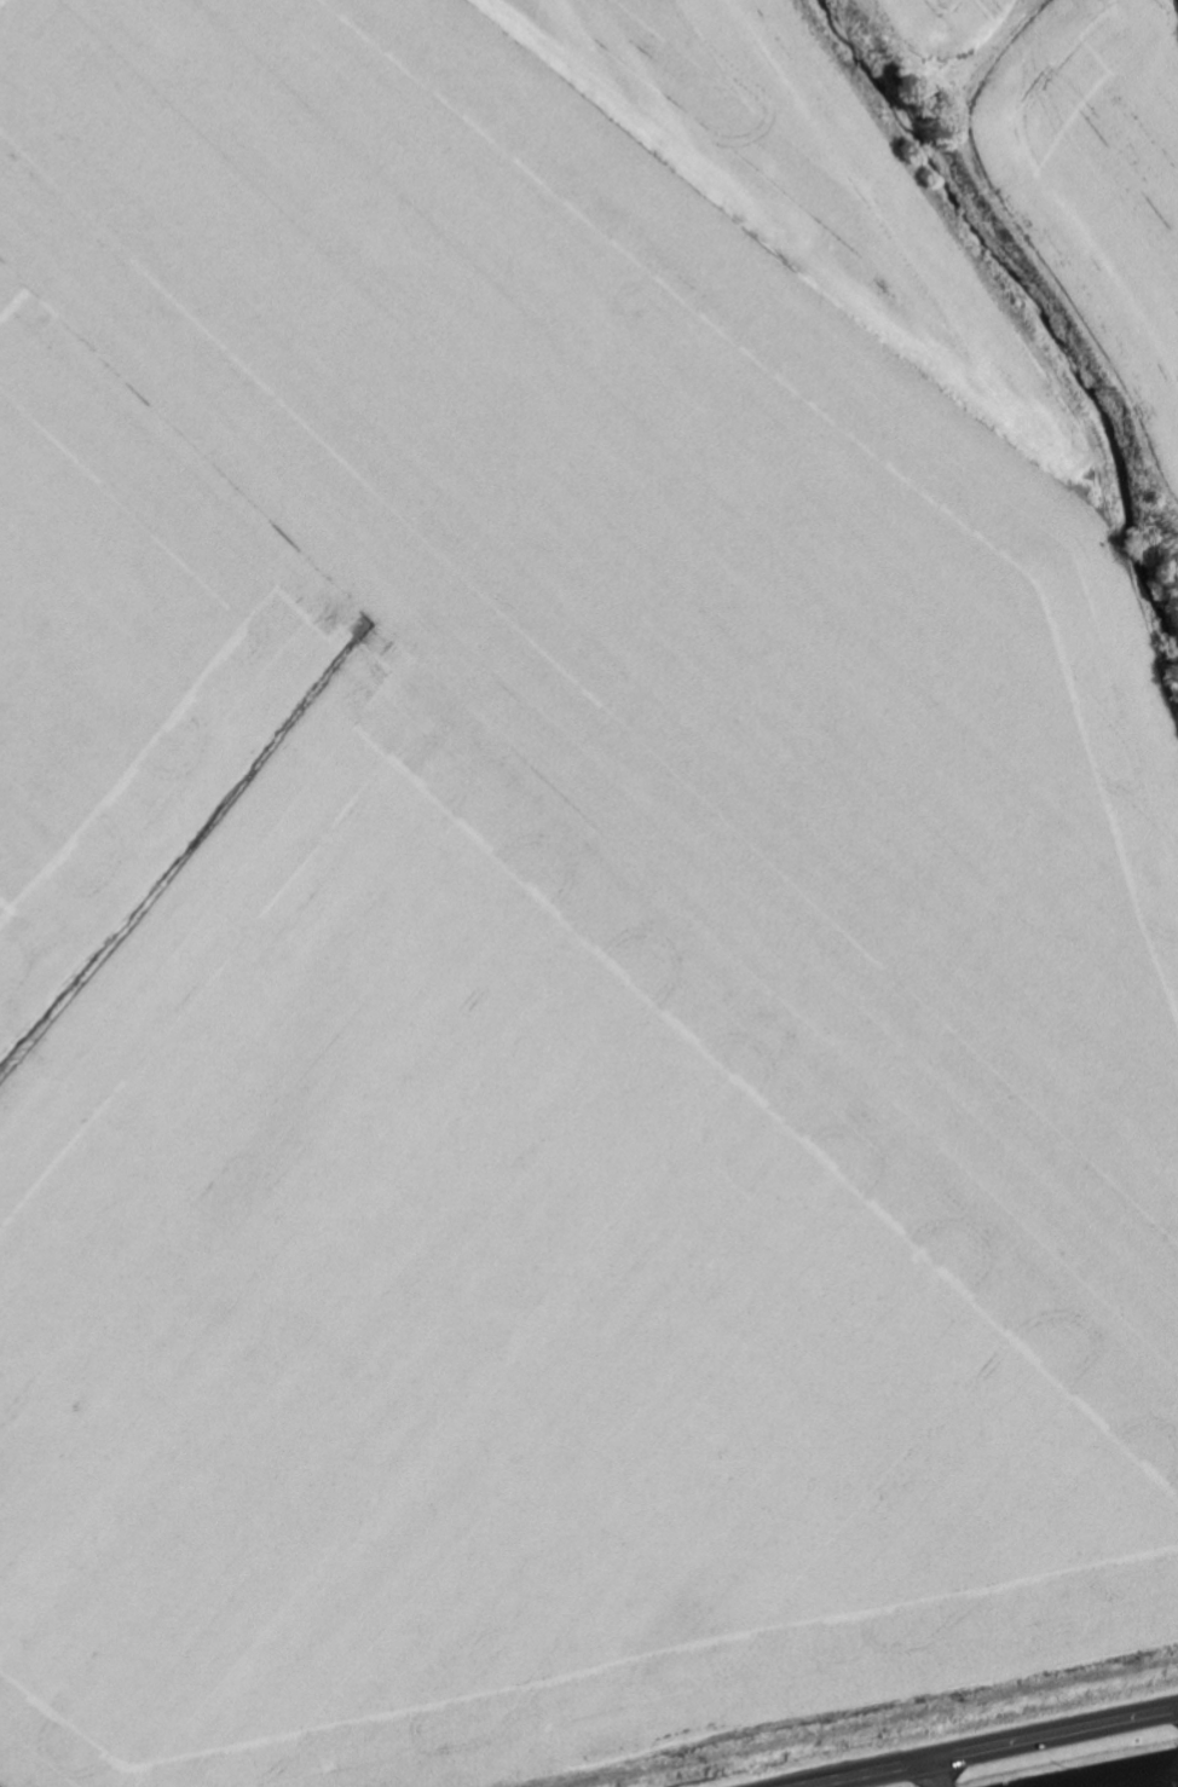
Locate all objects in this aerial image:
road: (989, 1747)

